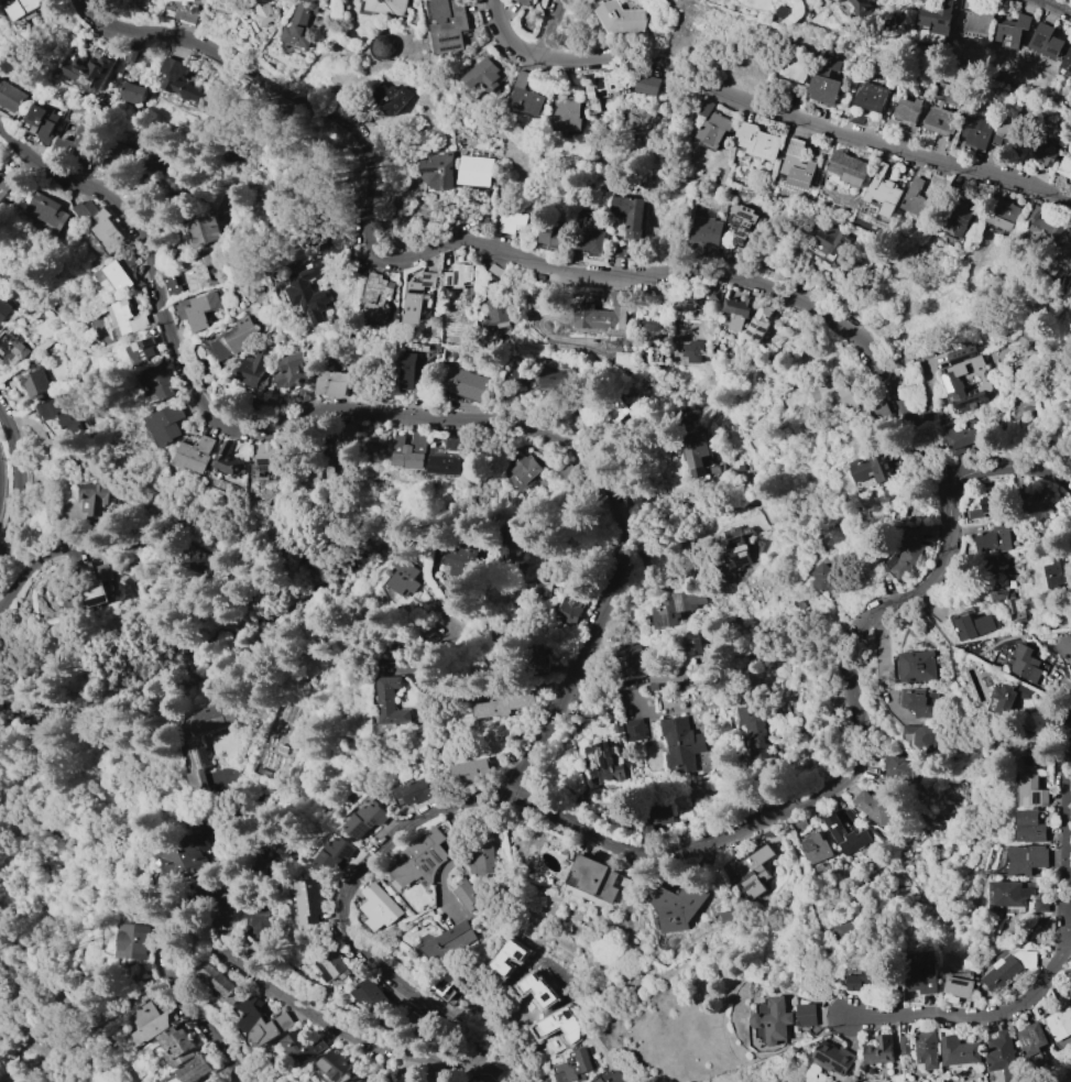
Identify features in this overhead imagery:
building: (189, 0)
building: (365, 0)
building: (841, 1)
building: (525, 2)
building: (387, 6)
road: (1057, 6)
building: (863, 7)
building: (26, 10)
building: (783, 11)
building: (266, 12)
building: (622, 18)
building: (938, 18)
building: (977, 21)
building: (304, 24)
building: (448, 24)
road: (555, 29)
building: (1013, 31)
building: (930, 36)
rooftop solar panel: (1039, 39)
building: (1047, 40)
building: (385, 46)
rooftop solar panel: (1054, 48)
building: (133, 55)
building: (1068, 61)
building: (830, 62)
building: (796, 64)
building: (89, 70)
building: (483, 75)
rooftop solar panel: (602, 81)
building: (605, 81)
building: (647, 84)
building: (187, 86)
building: (824, 89)
building: (132, 92)
building: (525, 95)
building: (871, 95)
building: (11, 96)
road: (292, 96)
building: (391, 97)
road: (767, 109)
road: (112, 110)
building: (907, 110)
building: (942, 110)
building: (565, 114)
building: (43, 120)
building: (712, 124)
building: (975, 130)
building: (1010, 133)
building: (757, 140)
building: (76, 141)
building: (1043, 154)
building: (116, 156)
building: (797, 164)
building: (1064, 166)
building: (848, 167)
rooftop solar panel: (433, 171)
building: (439, 171)
building: (476, 171)
rooftop solar panel: (448, 182)
building: (8, 183)
building: (883, 190)
building: (915, 197)
road: (23, 198)
building: (47, 210)
building: (1002, 212)
building: (630, 214)
building: (961, 215)
building: (742, 220)
building: (511, 221)
building: (481, 222)
building: (1040, 225)
building: (101, 226)
building: (201, 230)
building: (706, 232)
building: (550, 236)
building: (589, 239)
building: (842, 253)
building: (1060, 259)
building: (495, 270)
building: (198, 271)
building: (117, 274)
building: (459, 274)
rooftop solar panel: (458, 277)
road: (722, 277)
rooftop solar panel: (451, 281)
building: (174, 286)
building: (309, 288)
building: (713, 294)
building: (378, 297)
building: (418, 297)
building: (429, 297)
building: (689, 299)
rooftop solar panel: (306, 306)
building: (197, 309)
building: (4, 310)
building: (737, 310)
building: (495, 314)
building: (602, 315)
building: (129, 317)
rooftop solar panel: (315, 318)
building: (758, 323)
rooftop solar panel: (756, 326)
building: (651, 328)
rooftop solar panel: (764, 330)
rooftop solar panel: (753, 334)
building: (236, 338)
rooftop solar panel: (759, 338)
building: (11, 349)
building: (144, 350)
building: (691, 350)
rooftop solar panel: (965, 358)
building: (623, 359)
building: (943, 363)
building: (252, 369)
building: (293, 370)
building: (411, 370)
building: (555, 378)
building: (161, 379)
building: (966, 379)
building: (35, 382)
building: (330, 382)
building: (1057, 382)
building: (465, 384)
rooftop solar panel: (951, 384)
building: (304, 392)
building: (843, 400)
rooftop solar panel: (969, 404)
building: (584, 408)
building: (879, 409)
building: (806, 411)
building: (62, 412)
building: (614, 412)
road: (384, 415)
building: (167, 423)
building: (349, 430)
building: (962, 438)
building: (853, 440)
building: (412, 450)
building: (195, 453)
building: (697, 453)
road: (50, 456)
building: (270, 456)
building: (447, 457)
building: (227, 459)
rooftop solar panel: (267, 462)
building: (522, 470)
building: (872, 470)
building: (567, 472)
road: (20, 478)
road: (0, 479)
building: (97, 496)
building: (991, 504)
rooftop solar panel: (987, 506)
building: (993, 539)
building: (512, 542)
building: (735, 544)
building: (915, 547)
building: (192, 558)
rooftop solar panel: (894, 558)
road: (50, 559)
building: (458, 565)
building: (1001, 568)
building: (1058, 570)
building: (401, 575)
building: (828, 578)
building: (96, 582)
building: (1003, 600)
rooftop solar panel: (100, 601)
rooftop solar panel: (680, 605)
building: (677, 606)
building: (571, 610)
building: (1020, 616)
rooftop solar panel: (666, 621)
building: (972, 624)
building: (692, 643)
building: (1064, 648)
building: (630, 658)
building: (537, 660)
building: (1026, 664)
building: (916, 665)
building: (1009, 698)
building: (922, 700)
building: (391, 701)
building: (503, 703)
building: (1045, 704)
building: (754, 726)
building: (634, 729)
building: (921, 737)
building: (198, 740)
building: (680, 744)
building: (1021, 748)
rooftop solar panel: (206, 756)
rooftop solar panel: (197, 759)
building: (605, 763)
building: (898, 766)
building: (471, 772)
building: (412, 790)
building: (1031, 790)
building: (875, 807)
building: (849, 817)
building: (369, 820)
building: (655, 820)
road: (1068, 823)
building: (1029, 826)
rooftop solar panel: (376, 830)
building: (845, 834)
rooftop solar panel: (368, 838)
road: (695, 848)
building: (816, 848)
building: (285, 853)
building: (184, 855)
building: (338, 855)
building: (420, 859)
building: (1025, 860)
building: (485, 862)
building: (753, 871)
road: (233, 875)
building: (597, 877)
building: (1010, 893)
building: (468, 894)
building: (312, 899)
building: (1042, 905)
building: (679, 906)
building: (381, 907)
building: (730, 918)
building: (262, 925)
building: (854, 928)
building: (135, 939)
building: (450, 941)
road: (225, 952)
road: (20, 959)
building: (332, 962)
building: (1012, 968)
building: (929, 977)
building: (873, 979)
building: (219, 983)
rooftop solar panel: (968, 983)
building: (963, 987)
building: (447, 988)
building: (1070, 991)
building: (372, 996)
road: (983, 1013)
road: (63, 1015)
building: (818, 1015)
building: (785, 1020)
building: (1062, 1020)
building: (153, 1021)
building: (260, 1023)
park: (40, 1024)
road: (47, 1025)
building: (418, 1026)
rooftop solar panel: (1038, 1037)
building: (1036, 1039)
building: (302, 1045)
building: (916, 1045)
building: (176, 1046)
building: (937, 1048)
rooftop solar panel: (1030, 1048)
building: (892, 1050)
building: (968, 1050)
building: (1008, 1056)
building: (845, 1058)
building: (340, 1062)
rooftop solar panel: (839, 1063)
road: (1, 1064)
building: (575, 1067)
building: (194, 1069)
rooftop solar panel: (854, 1073)
building: (397, 1075)
building: (423, 1076)
building: (614, 1076)
building: (350, 1080)
building: (474, 1080)
building: (360, 1081)
building: (370, 1081)
park: (881, 1081)

